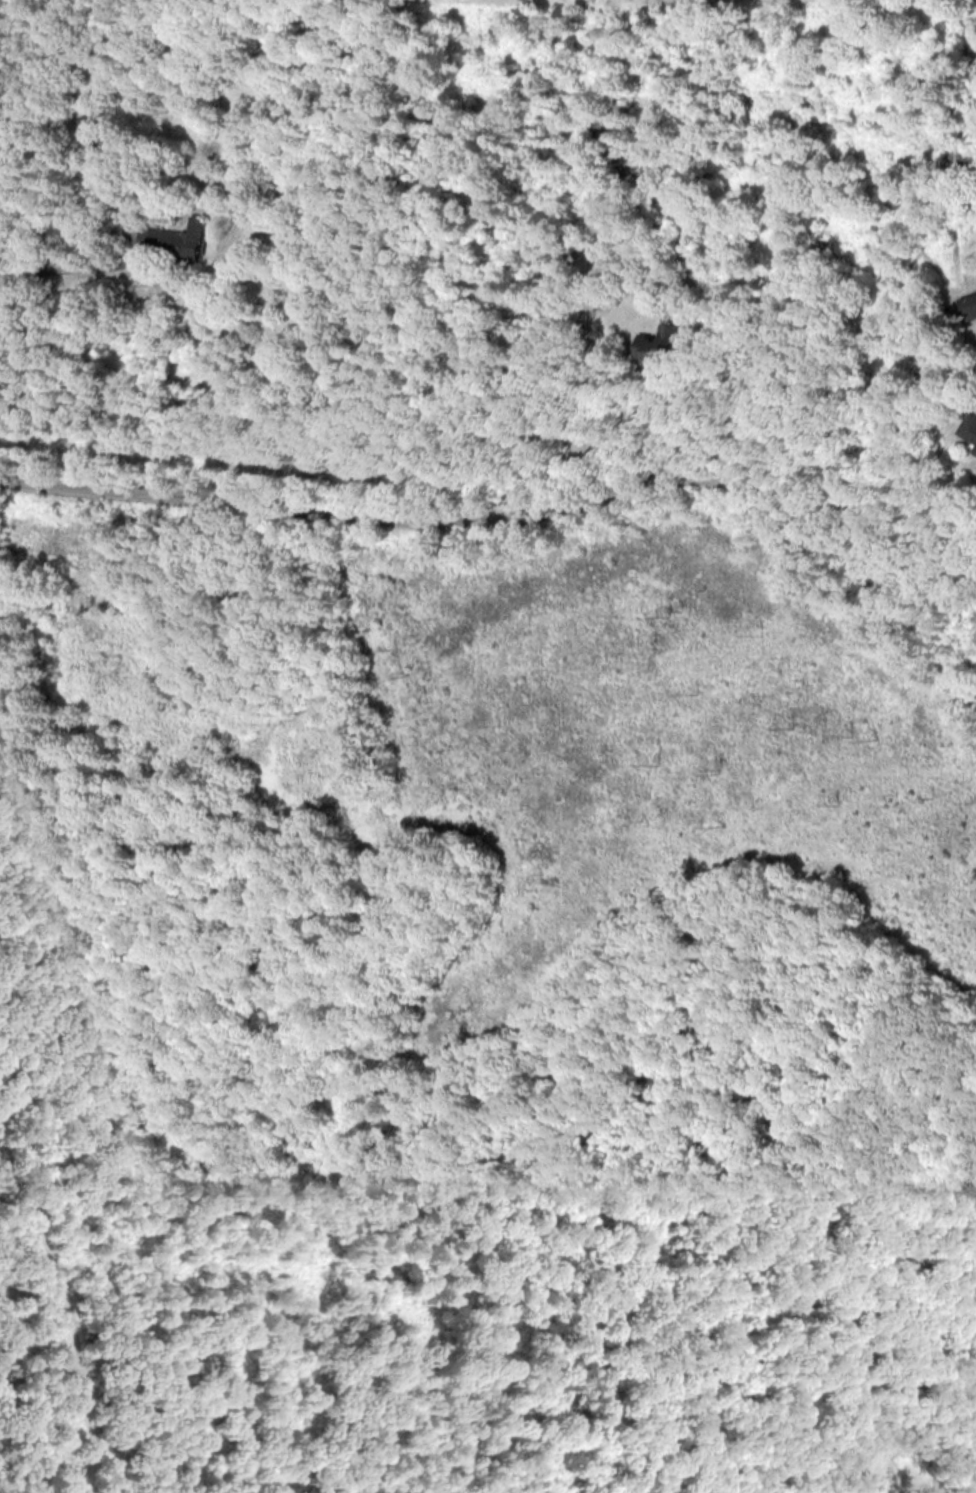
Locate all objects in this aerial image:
road: (130, 236)
building: (189, 241)
road: (21, 277)
building: (968, 305)
road: (475, 357)
building: (969, 427)
building: (975, 450)
road: (502, 520)

